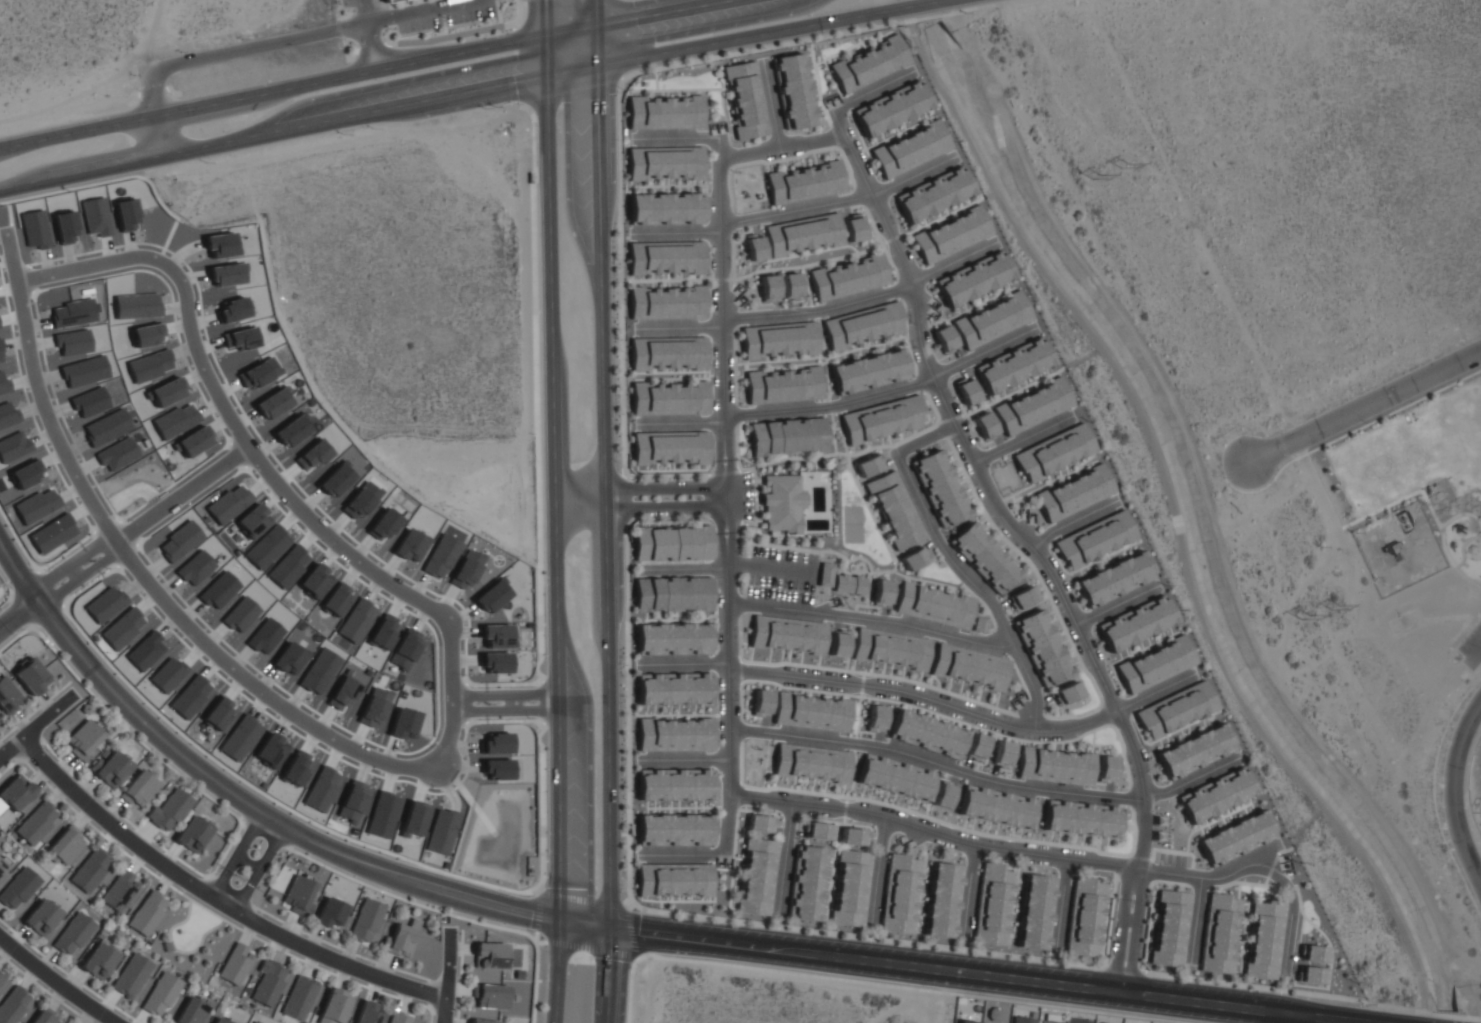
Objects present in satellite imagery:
building: (388, 1)
road: (411, 14)
road: (443, 38)
road: (370, 46)
road: (216, 56)
building: (869, 63)
road: (357, 72)
road: (468, 89)
building: (792, 90)
building: (745, 100)
building: (891, 108)
building: (663, 111)
road: (783, 147)
building: (910, 148)
building: (664, 161)
power tower: (1125, 163)
building: (528, 176)
power tower: (1096, 177)
building: (804, 181)
building: (933, 194)
building: (665, 207)
road: (796, 209)
building: (810, 234)
building: (950, 234)
building: (753, 247)
building: (665, 256)
road: (88, 262)
building: (847, 277)
building: (972, 279)
building: (790, 285)
building: (768, 286)
building: (667, 302)
road: (820, 309)
building: (991, 321)
building: (862, 326)
building: (944, 339)
building: (778, 340)
building: (667, 354)
road: (1083, 357)
building: (1012, 365)
building: (868, 371)
building: (782, 386)
building: (966, 391)
road: (39, 393)
road: (1384, 398)
building: (668, 399)
building: (271, 403)
building: (1032, 407)
road: (833, 408)
building: (881, 420)
building: (984, 425)
building: (291, 430)
building: (787, 437)
building: (669, 448)
building: (1053, 454)
building: (312, 455)
road: (554, 459)
road: (605, 463)
building: (868, 466)
road: (267, 467)
building: (25, 473)
building: (334, 479)
building: (939, 489)
road: (730, 491)
road: (181, 492)
building: (1073, 493)
building: (360, 500)
road: (642, 501)
building: (227, 504)
building: (779, 504)
building: (36, 505)
road: (1174, 508)
building: (893, 511)
building: (252, 521)
park: (856, 523)
building: (383, 524)
building: (1094, 539)
building: (671, 542)
building: (409, 545)
road: (1026, 545)
building: (266, 547)
road: (90, 548)
building: (1396, 551)
building: (441, 556)
building: (913, 558)
building: (983, 559)
road: (99, 560)
road: (953, 563)
building: (287, 566)
road: (771, 567)
building: (465, 569)
road: (72, 570)
building: (824, 573)
parking lot: (781, 575)
road: (47, 577)
building: (1114, 579)
building: (314, 581)
building: (849, 583)
road: (58, 590)
building: (881, 592)
building: (672, 593)
power tower: (1330, 595)
building: (491, 596)
building: (1022, 598)
building: (336, 599)
building: (933, 605)
power tower: (1303, 614)
road: (19, 615)
road: (873, 618)
building: (356, 620)
building: (1134, 623)
building: (979, 625)
building: (383, 632)
building: (496, 635)
building: (787, 635)
building: (672, 638)
building: (838, 643)
building: (405, 648)
building: (890, 649)
building: (1041, 649)
building: (288, 657)
building: (495, 661)
building: (1154, 664)
building: (968, 667)
building: (319, 671)
building: (30, 677)
road: (253, 685)
building: (673, 687)
road: (450, 691)
building: (343, 692)
road: (533, 692)
building: (1066, 692)
road: (481, 694)
building: (190, 696)
building: (7, 697)
road: (926, 699)
road: (511, 701)
building: (760, 702)
building: (85, 707)
building: (373, 707)
road: (533, 708)
road: (481, 709)
building: (1175, 709)
building: (811, 711)
building: (216, 713)
building: (874, 717)
building: (403, 723)
road: (37, 727)
building: (675, 734)
building: (926, 734)
building: (82, 738)
building: (239, 738)
building: (976, 746)
road: (30, 748)
building: (269, 749)
road: (49, 750)
building: (1195, 751)
building: (1001, 753)
building: (811, 762)
building: (1054, 765)
building: (110, 767)
building: (1105, 768)
building: (295, 769)
road: (39, 775)
road: (39, 776)
building: (895, 776)
building: (673, 784)
road: (1454, 785)
building: (138, 787)
building: (321, 788)
road: (234, 793)
building: (14, 795)
building: (942, 795)
building: (1216, 795)
building: (352, 800)
building: (996, 806)
building: (168, 810)
building: (382, 815)
building: (414, 818)
building: (1080, 818)
building: (760, 823)
building: (36, 824)
building: (630, 828)
building: (674, 829)
building: (818, 830)
building: (441, 832)
building: (190, 834)
building: (854, 836)
building: (1236, 837)
building: (65, 846)
road: (235, 852)
road: (1056, 858)
road: (246, 862)
building: (2, 868)
road: (259, 868)
building: (529, 870)
building: (89, 871)
building: (757, 876)
building: (673, 878)
road: (163, 880)
road: (165, 881)
building: (807, 882)
building: (851, 888)
building: (17, 889)
building: (120, 891)
building: (297, 893)
building: (899, 894)
road: (581, 898)
road: (217, 900)
building: (943, 900)
building: (993, 904)
road: (205, 907)
building: (329, 911)
road: (537, 911)
building: (1036, 912)
building: (147, 913)
building: (1085, 917)
building: (40, 919)
building: (367, 921)
road: (582, 923)
building: (1170, 928)
road: (248, 930)
street lamp: (530, 930)
road: (630, 932)
road: (247, 933)
building: (1219, 934)
building: (71, 935)
park: (194, 935)
building: (400, 938)
building: (1264, 939)
road: (536, 941)
building: (167, 946)
road: (175, 949)
road: (591, 950)
building: (1314, 953)
building: (488, 956)
building: (97, 961)
building: (236, 964)
road: (554, 971)
road: (985, 971)
road: (608, 974)
building: (1311, 975)
road: (449, 976)
building: (130, 977)
building: (1, 978)
road: (56, 981)
building: (2, 982)
building: (267, 984)
building: (160, 995)
building: (490, 997)
building: (300, 999)
building: (13, 1005)
building: (336, 1007)
building: (190, 1012)
building: (367, 1014)
building: (42, 1018)
building: (399, 1018)
building: (1023, 1019)
road: (1290, 1019)
building: (219, 1020)
building: (483, 1021)
building: (967, 1021)
building: (1049, 1021)
building: (253, 1022)

